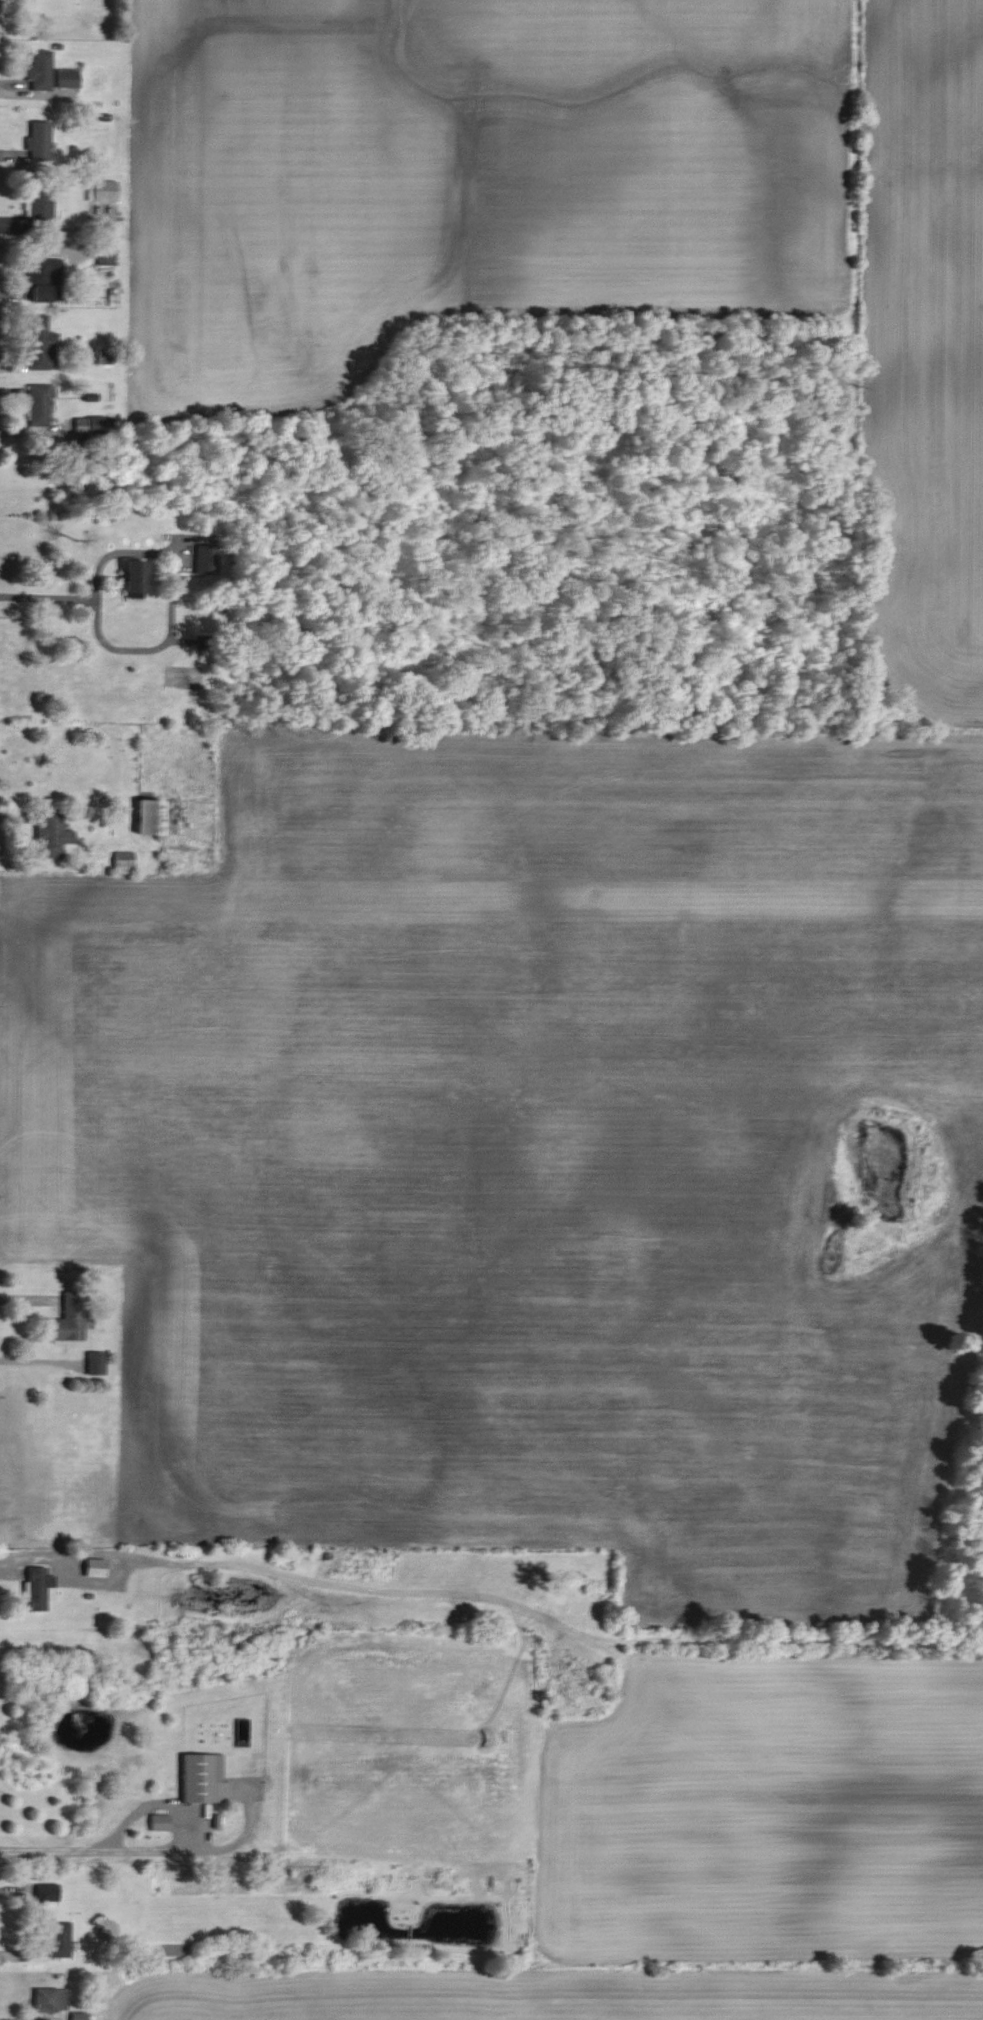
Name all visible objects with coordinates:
building: (39, 71)
building: (66, 84)
building: (38, 140)
building: (101, 190)
building: (38, 205)
building: (105, 253)
building: (37, 268)
building: (40, 292)
building: (41, 343)
building: (39, 405)
building: (133, 575)
road: (100, 638)
building: (148, 816)
building: (50, 833)
building: (123, 862)
building: (68, 1318)
building: (94, 1363)
road: (26, 1554)
road: (121, 1570)
building: (37, 1587)
road: (548, 1621)
building: (202, 1777)
road: (177, 1818)
building: (158, 1821)
road: (50, 1851)
building: (46, 1891)
building: (58, 1938)
building: (49, 1999)
building: (78, 2015)

